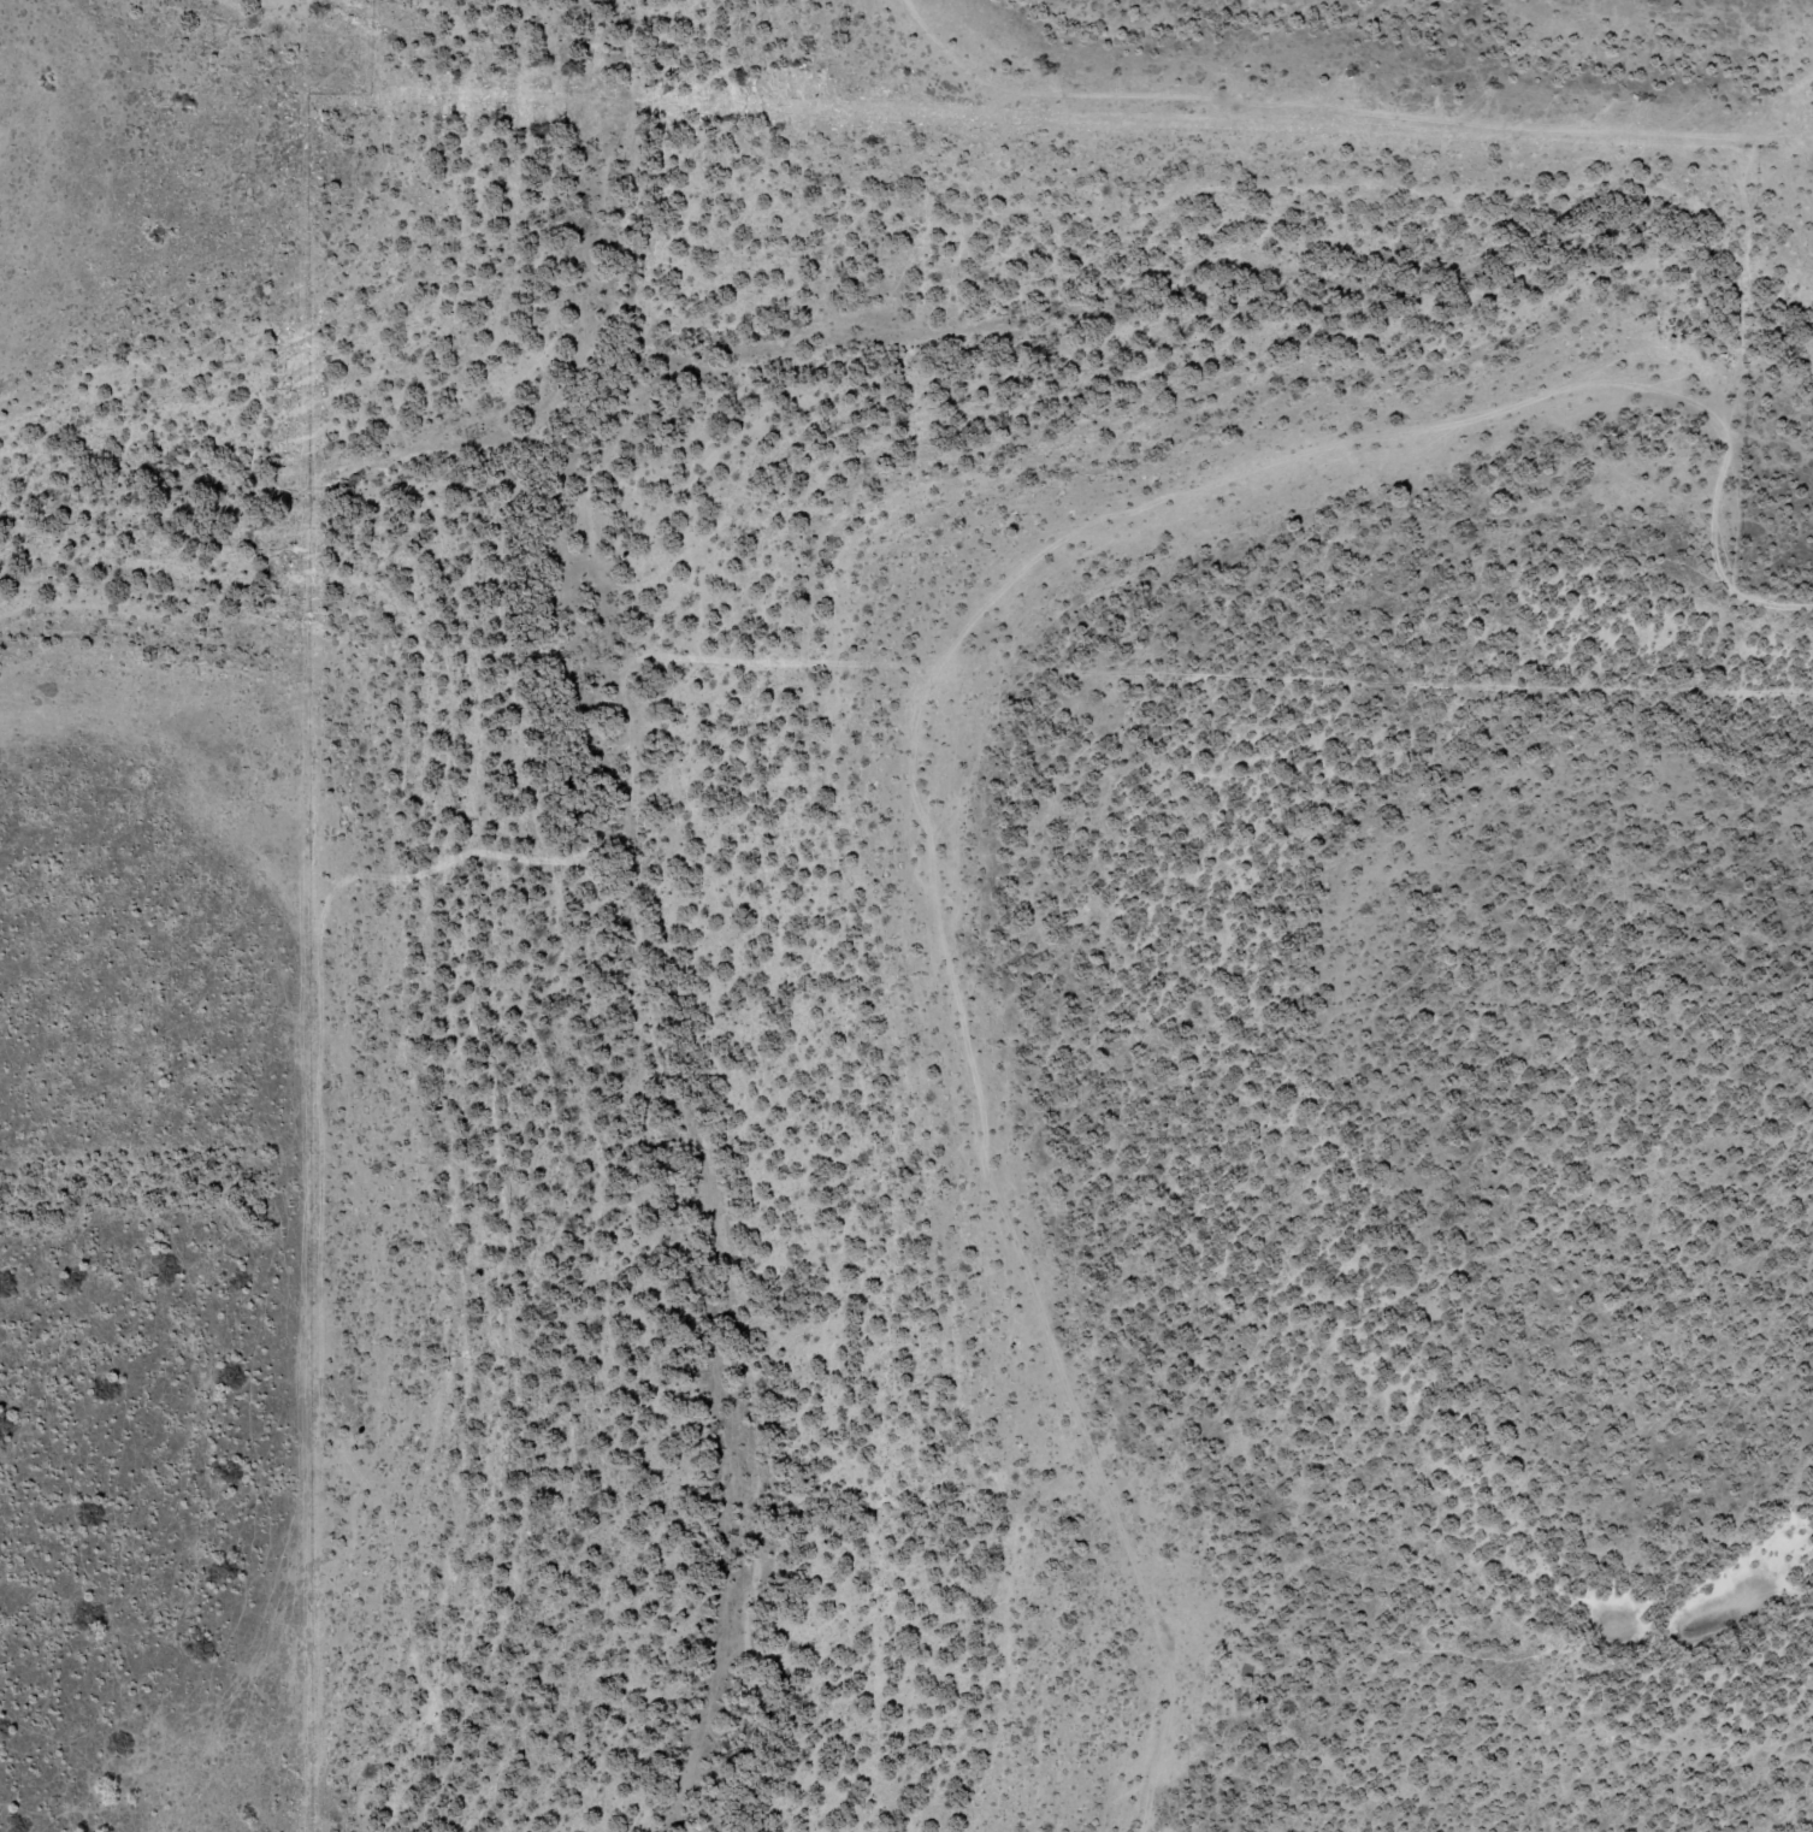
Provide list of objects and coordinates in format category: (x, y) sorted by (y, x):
road: (959, 766)

